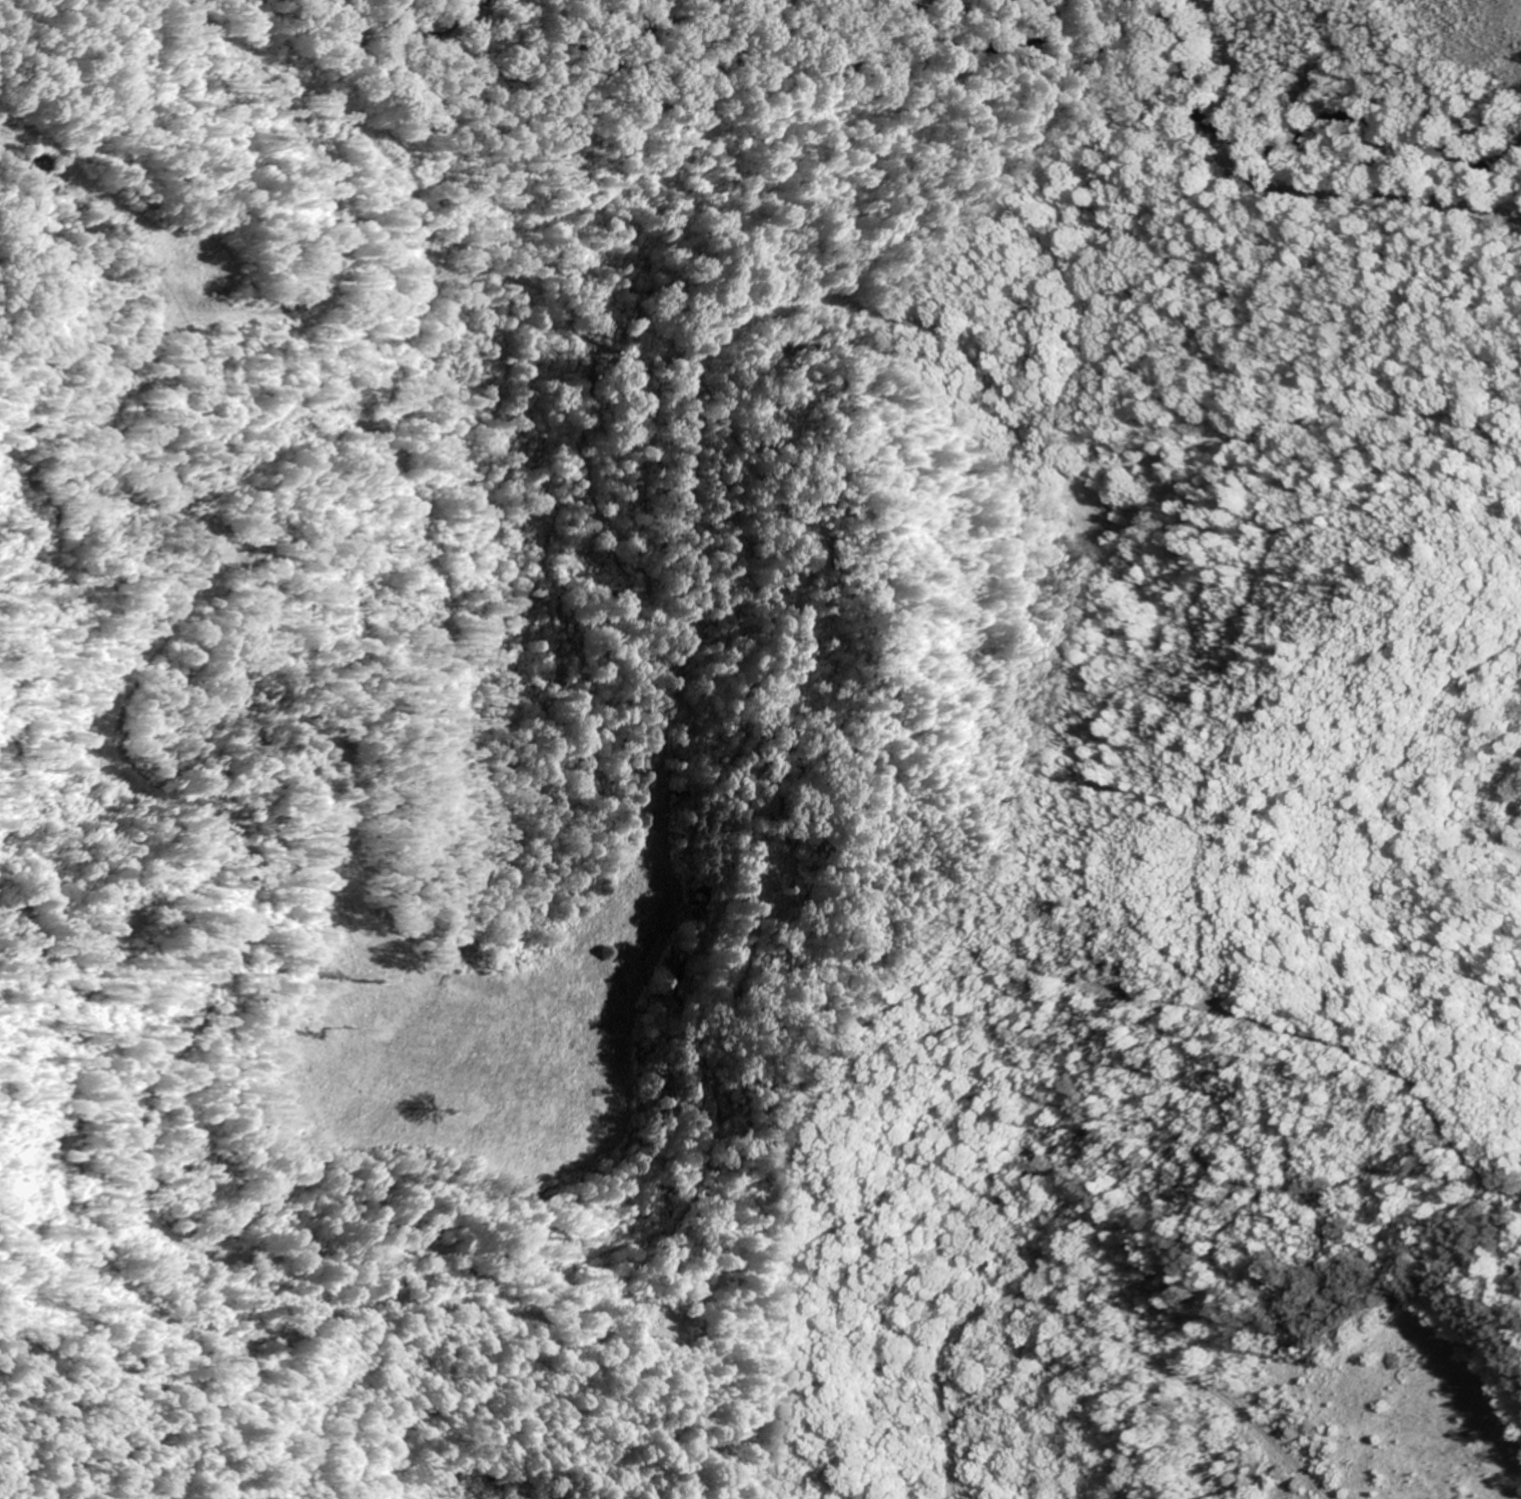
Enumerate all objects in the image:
road: (1282, 187)

